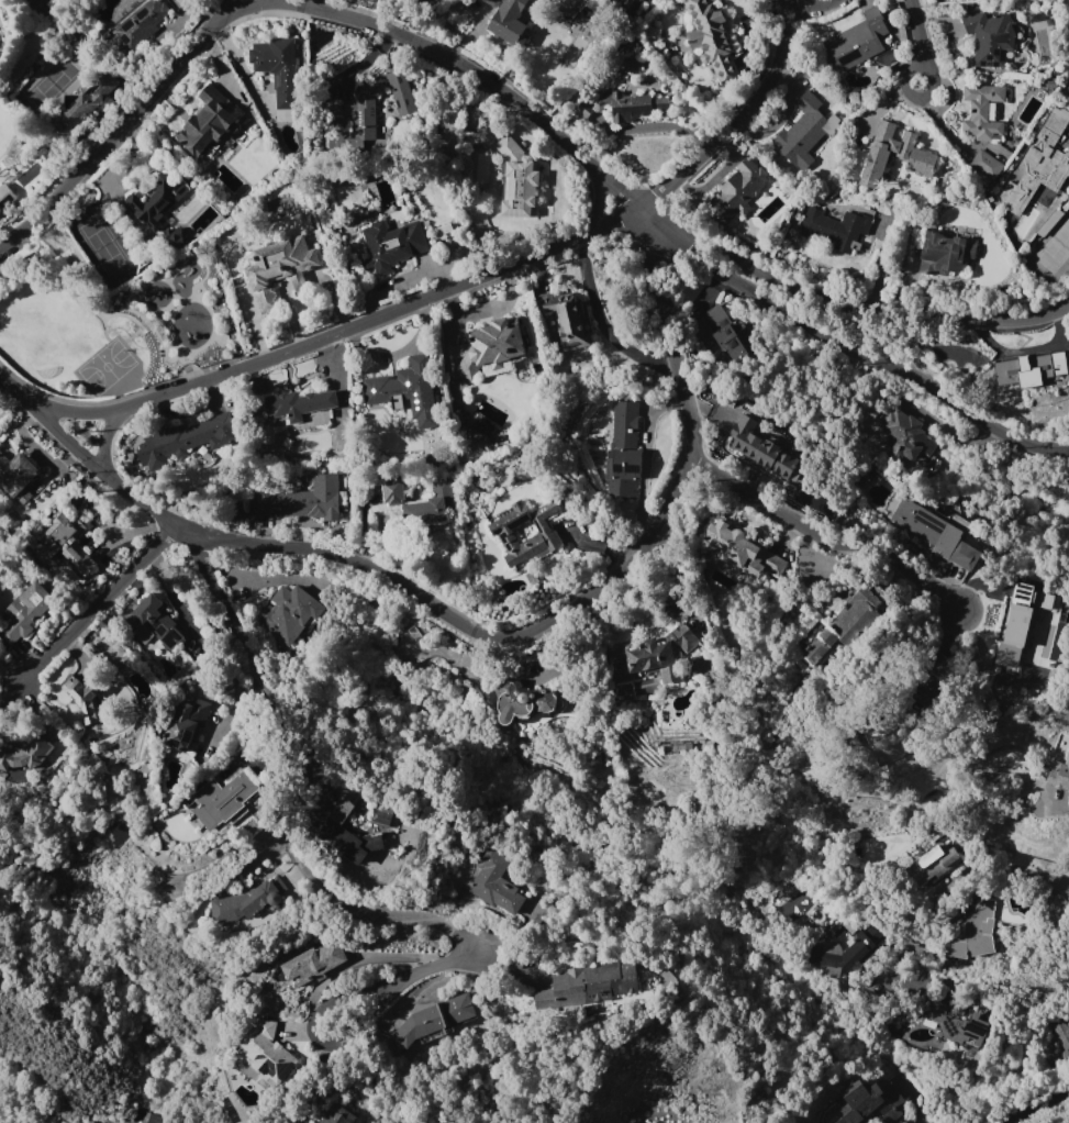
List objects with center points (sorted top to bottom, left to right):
building: (383, 1)
building: (490, 2)
building: (631, 3)
road: (247, 5)
road: (806, 5)
building: (508, 22)
building: (140, 24)
road: (916, 33)
building: (710, 37)
building: (989, 38)
building: (856, 42)
building: (276, 69)
road: (477, 76)
building: (399, 94)
road: (914, 96)
building: (85, 103)
building: (630, 104)
building: (981, 112)
building: (356, 118)
building: (208, 121)
road: (118, 125)
building: (803, 132)
building: (915, 156)
building: (986, 165)
building: (1038, 165)
building: (516, 181)
building: (735, 193)
building: (155, 200)
road: (595, 202)
building: (834, 229)
building: (174, 240)
building: (409, 248)
building: (943, 253)
building: (278, 268)
road: (467, 281)
road: (851, 303)
building: (569, 322)
park: (116, 329)
building: (720, 332)
road: (169, 336)
building: (491, 346)
road: (861, 352)
building: (1029, 369)
building: (400, 385)
building: (296, 404)
building: (905, 435)
building: (190, 437)
building: (475, 440)
road: (111, 443)
building: (759, 448)
building: (624, 452)
building: (15, 478)
building: (391, 491)
building: (300, 502)
building: (428, 507)
building: (921, 522)
building: (501, 534)
road: (825, 535)
building: (67, 545)
building: (739, 551)
building: (964, 555)
building: (25, 611)
building: (288, 614)
road: (86, 615)
building: (844, 620)
building: (1018, 621)
building: (151, 624)
road: (477, 634)
building: (653, 656)
building: (935, 664)
building: (80, 699)
building: (524, 703)
building: (185, 724)
building: (25, 755)
building: (1058, 775)
building: (222, 801)
road: (1055, 809)
building: (379, 816)
road: (293, 821)
building: (348, 834)
building: (935, 867)
building: (494, 882)
building: (243, 903)
building: (978, 930)
road: (902, 939)
building: (847, 950)
building: (312, 964)
building: (592, 981)
road: (327, 987)
building: (432, 1020)
building: (954, 1025)
building: (1061, 1033)
building: (267, 1053)
building: (869, 1103)
road: (1043, 1107)
building: (336, 1115)
building: (148, 1119)

